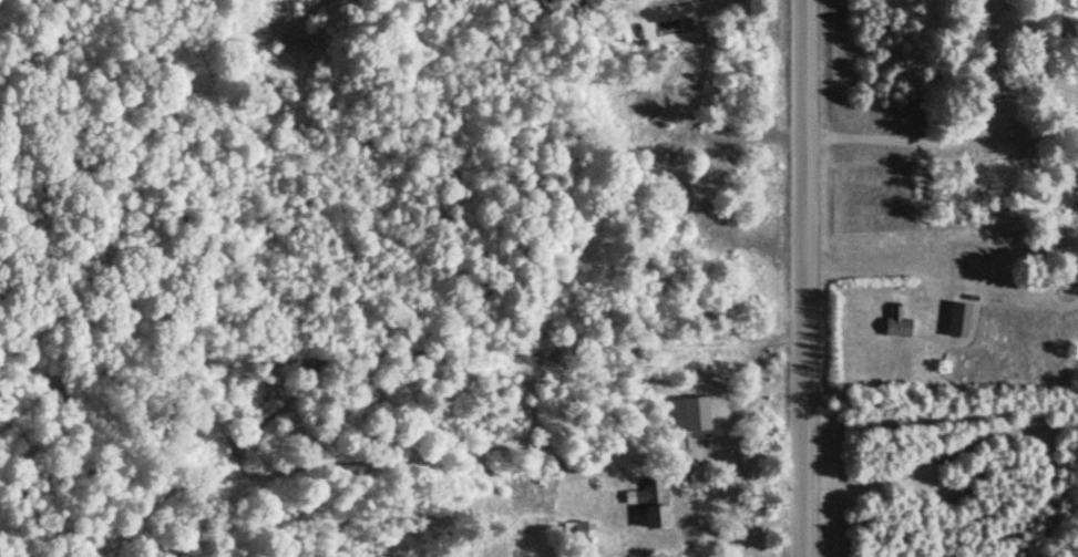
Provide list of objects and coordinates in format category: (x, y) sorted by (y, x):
road: (649, 3)
road: (763, 134)
road: (955, 140)
road: (757, 244)
road: (901, 260)
road: (811, 278)
building: (956, 321)
building: (895, 322)
building: (692, 414)
road: (944, 454)
road: (745, 482)
road: (680, 486)
building: (655, 503)
building: (569, 532)

